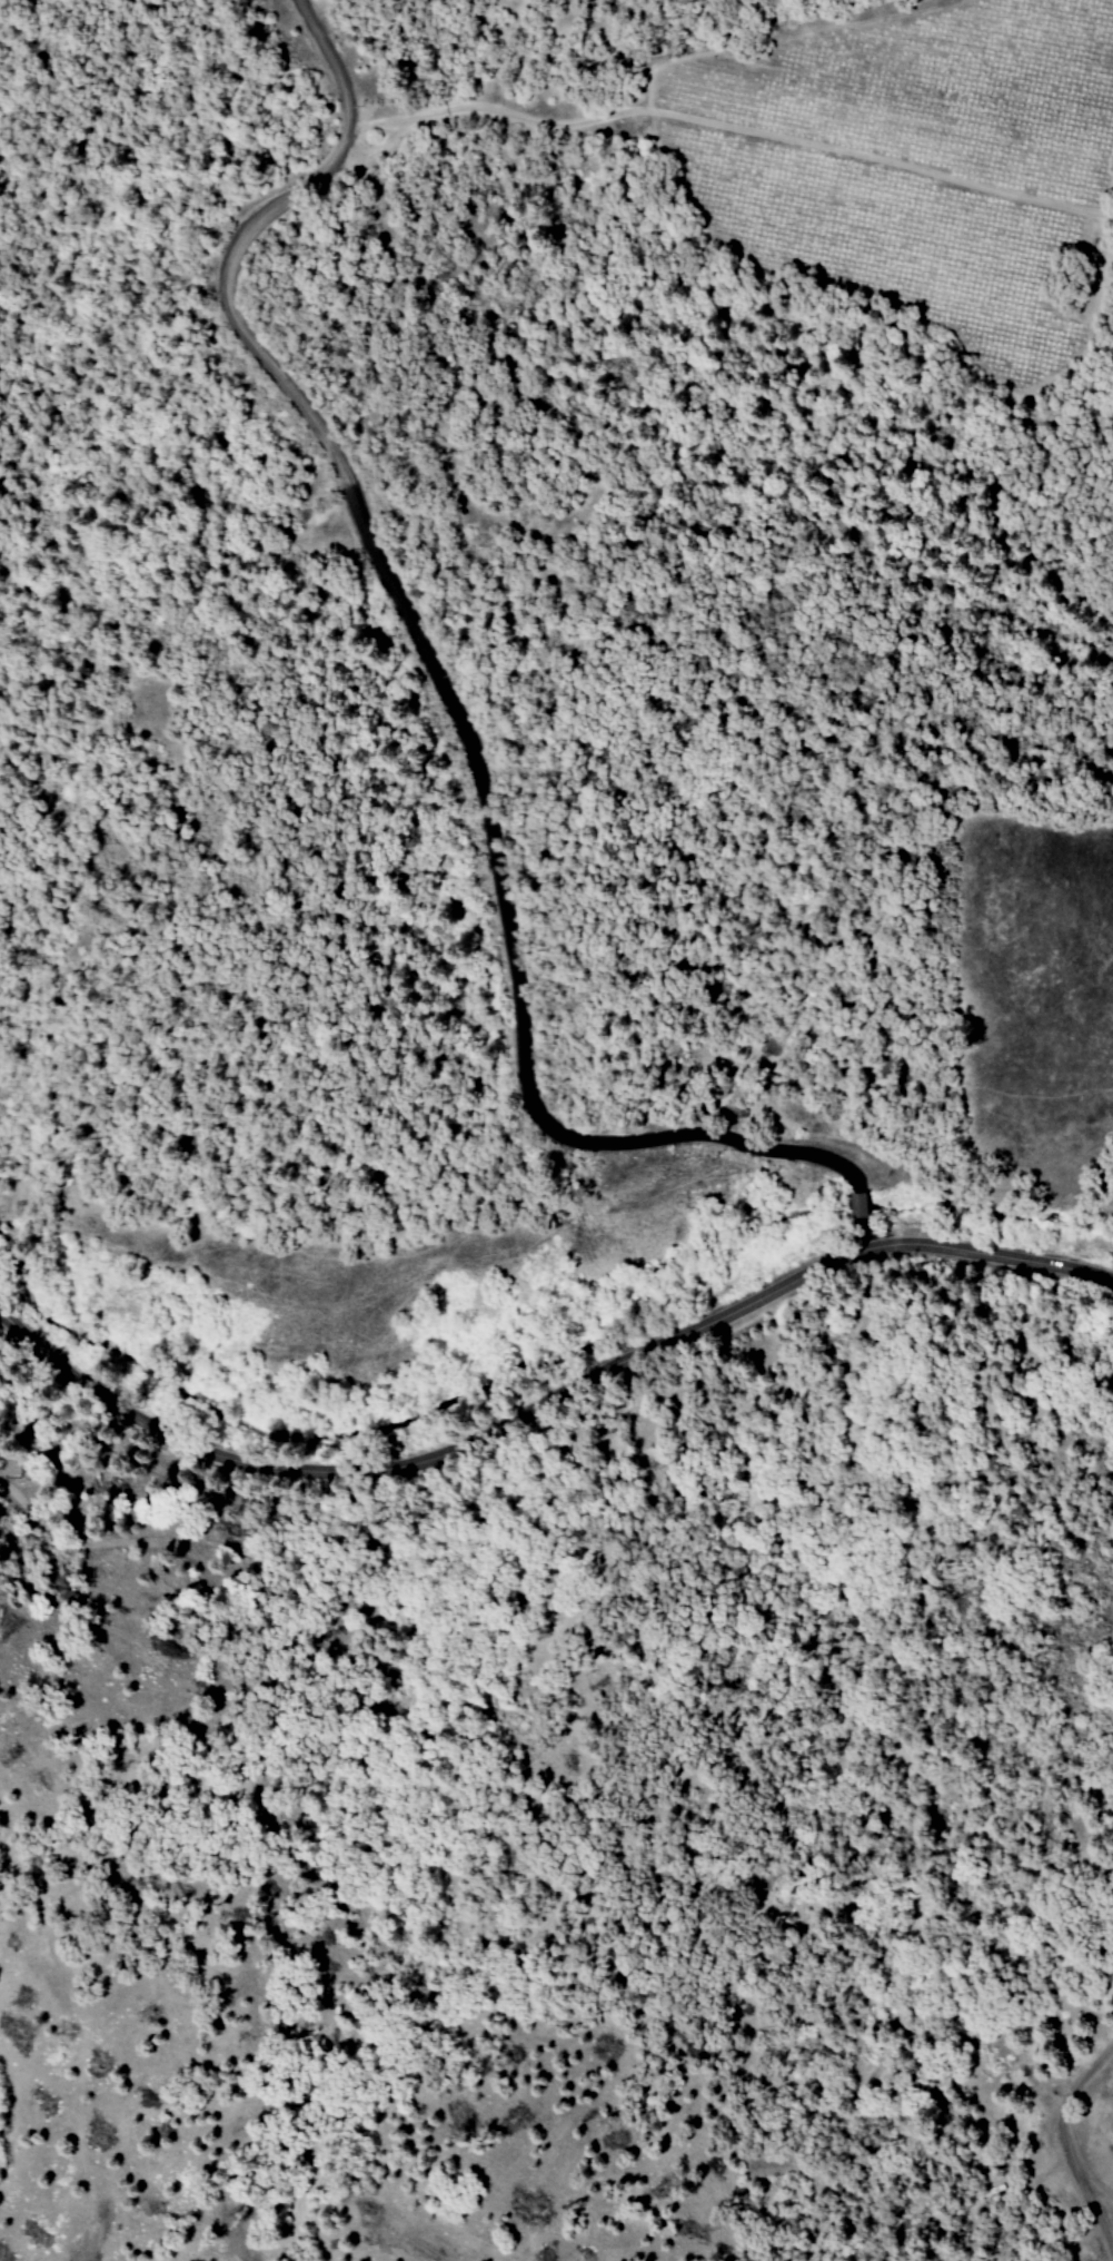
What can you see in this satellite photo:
road: (727, 125)
crop: (922, 148)
road: (279, 393)
road: (579, 1141)
building: (859, 1204)
road: (545, 1402)
road: (1067, 2143)

